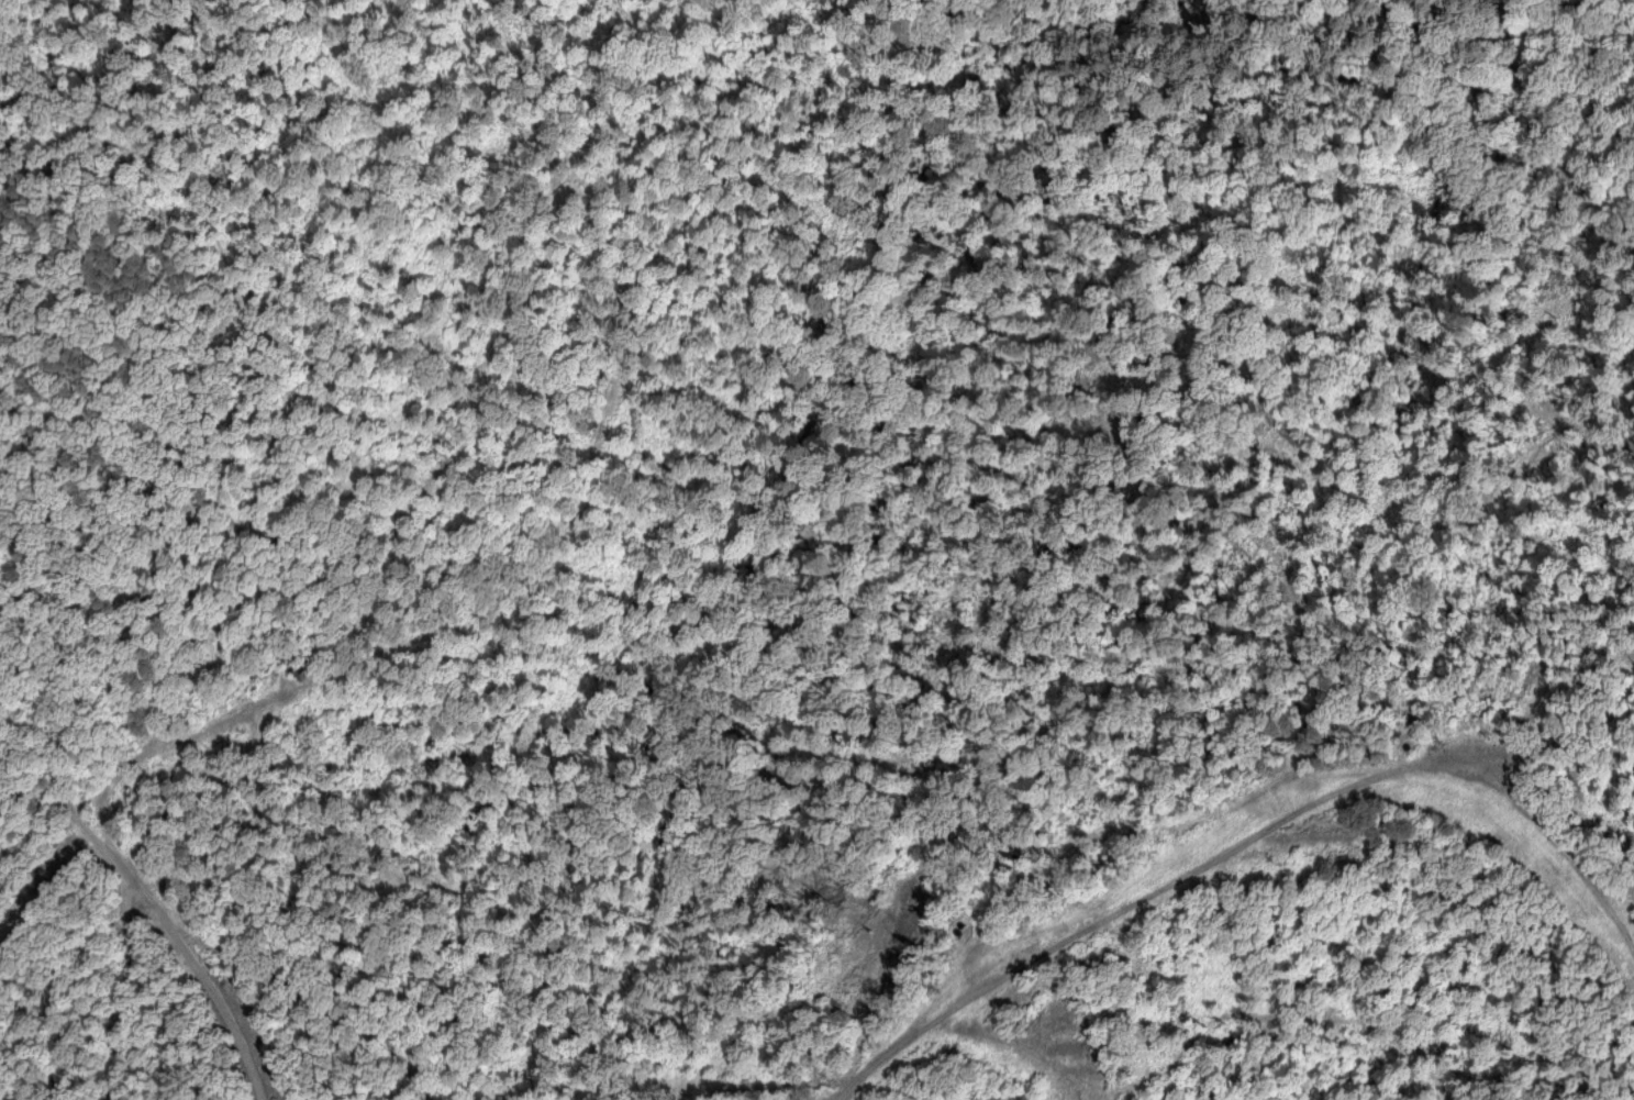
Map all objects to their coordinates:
road: (85, 689)
road: (208, 984)

